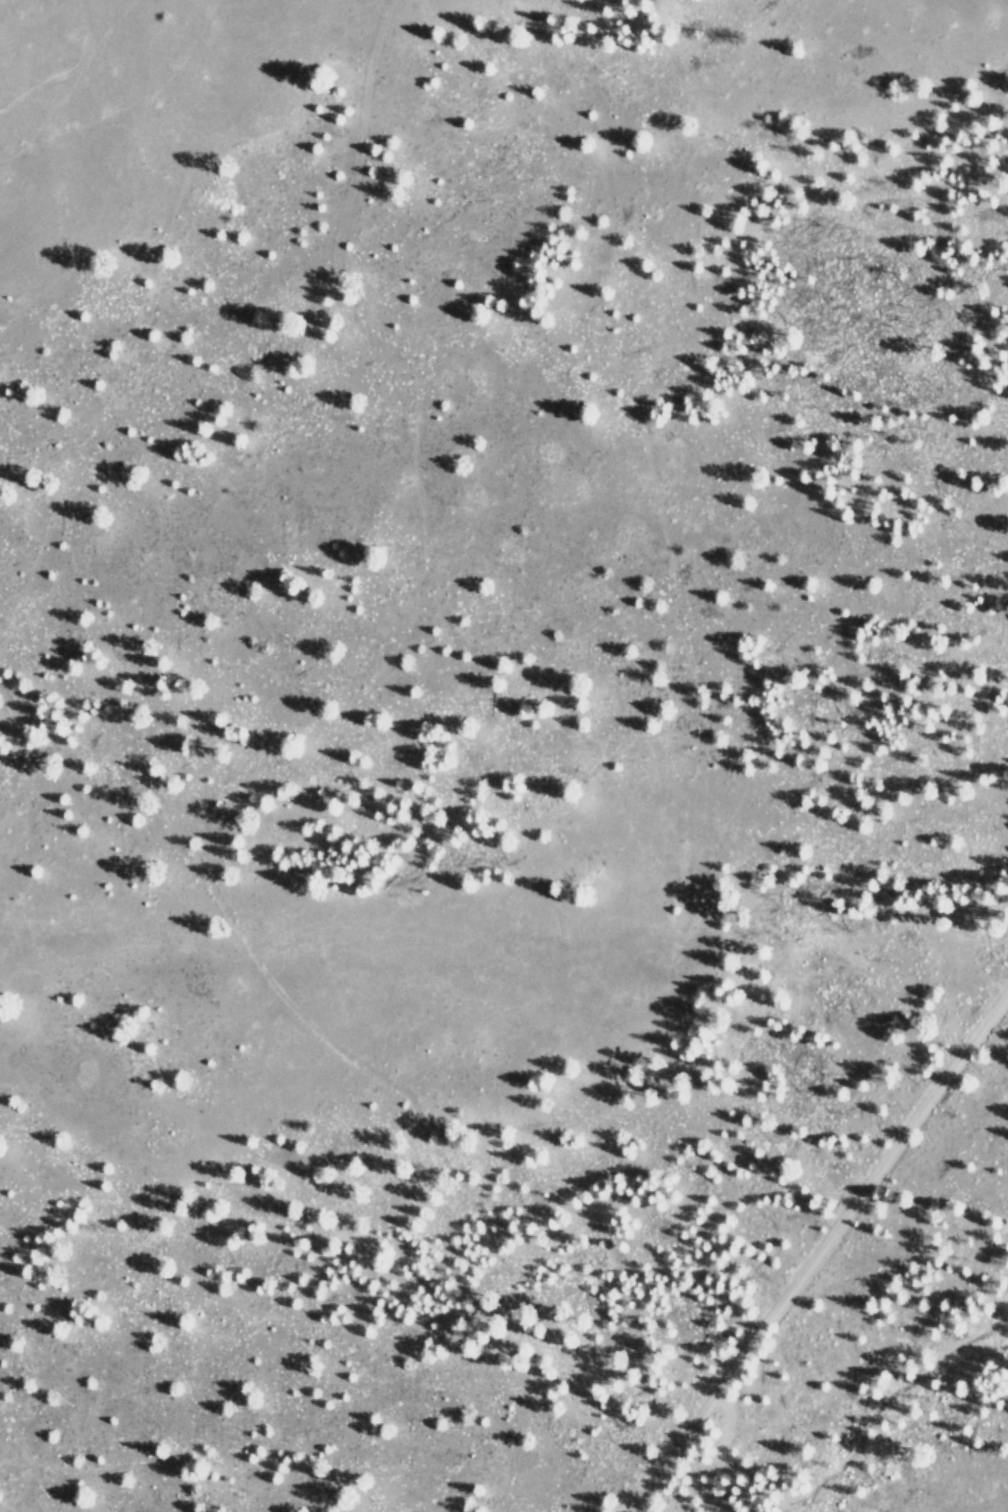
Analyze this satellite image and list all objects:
road: (790, 1223)

